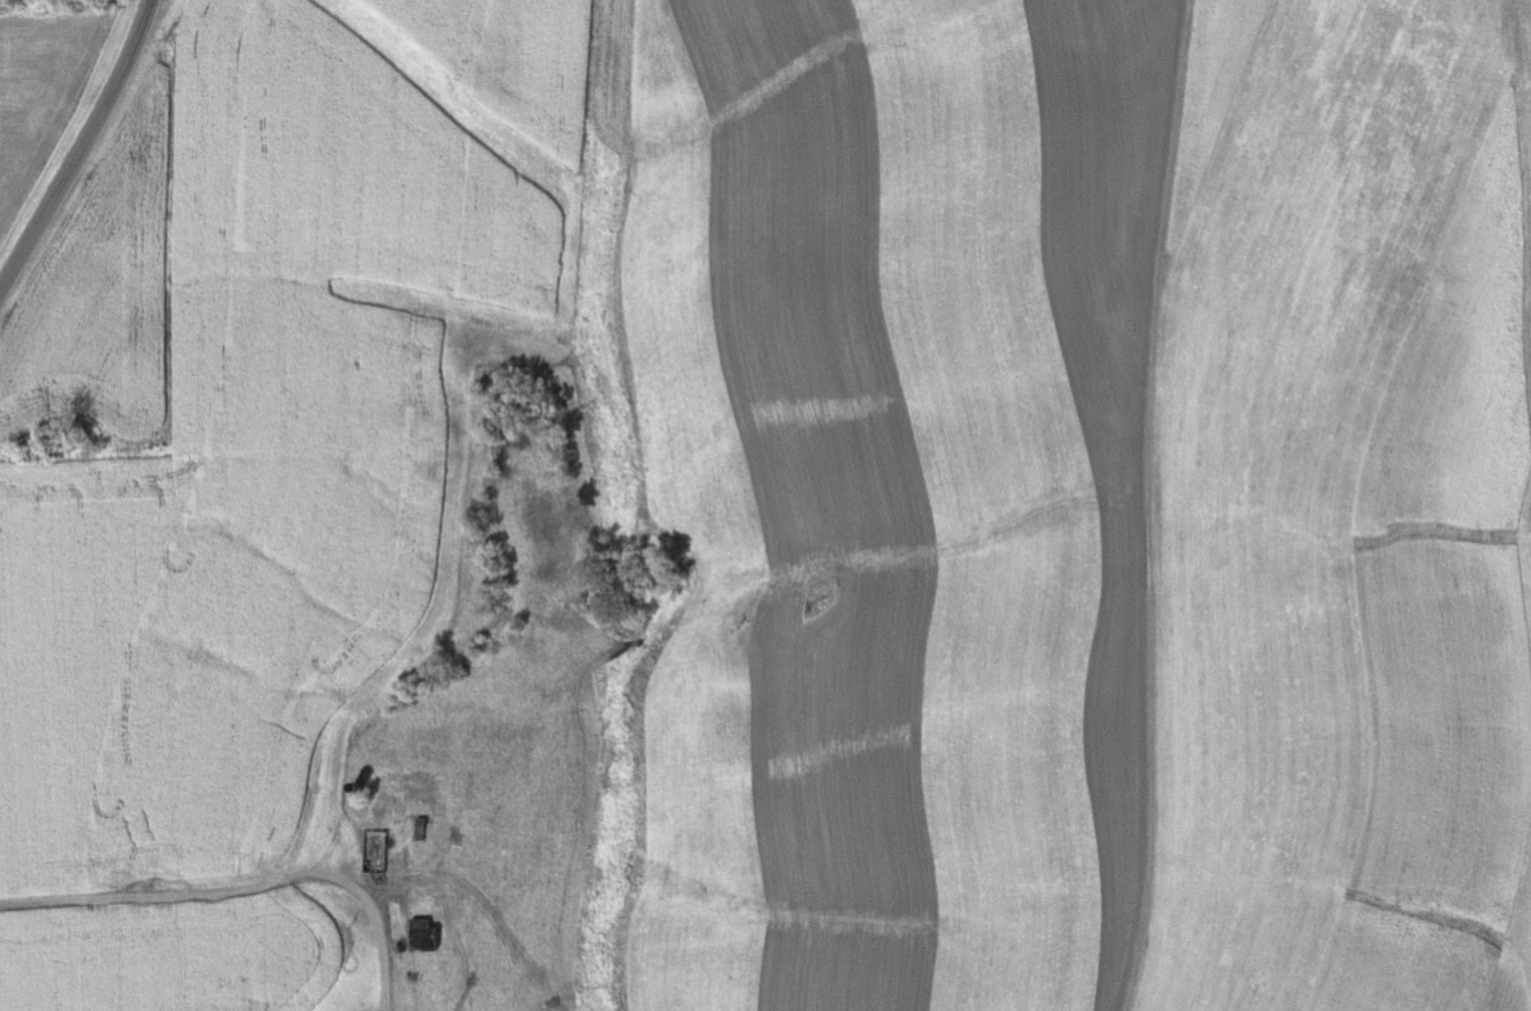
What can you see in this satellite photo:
road: (80, 144)
building: (420, 830)
road: (203, 882)
road: (374, 931)
building: (421, 935)

